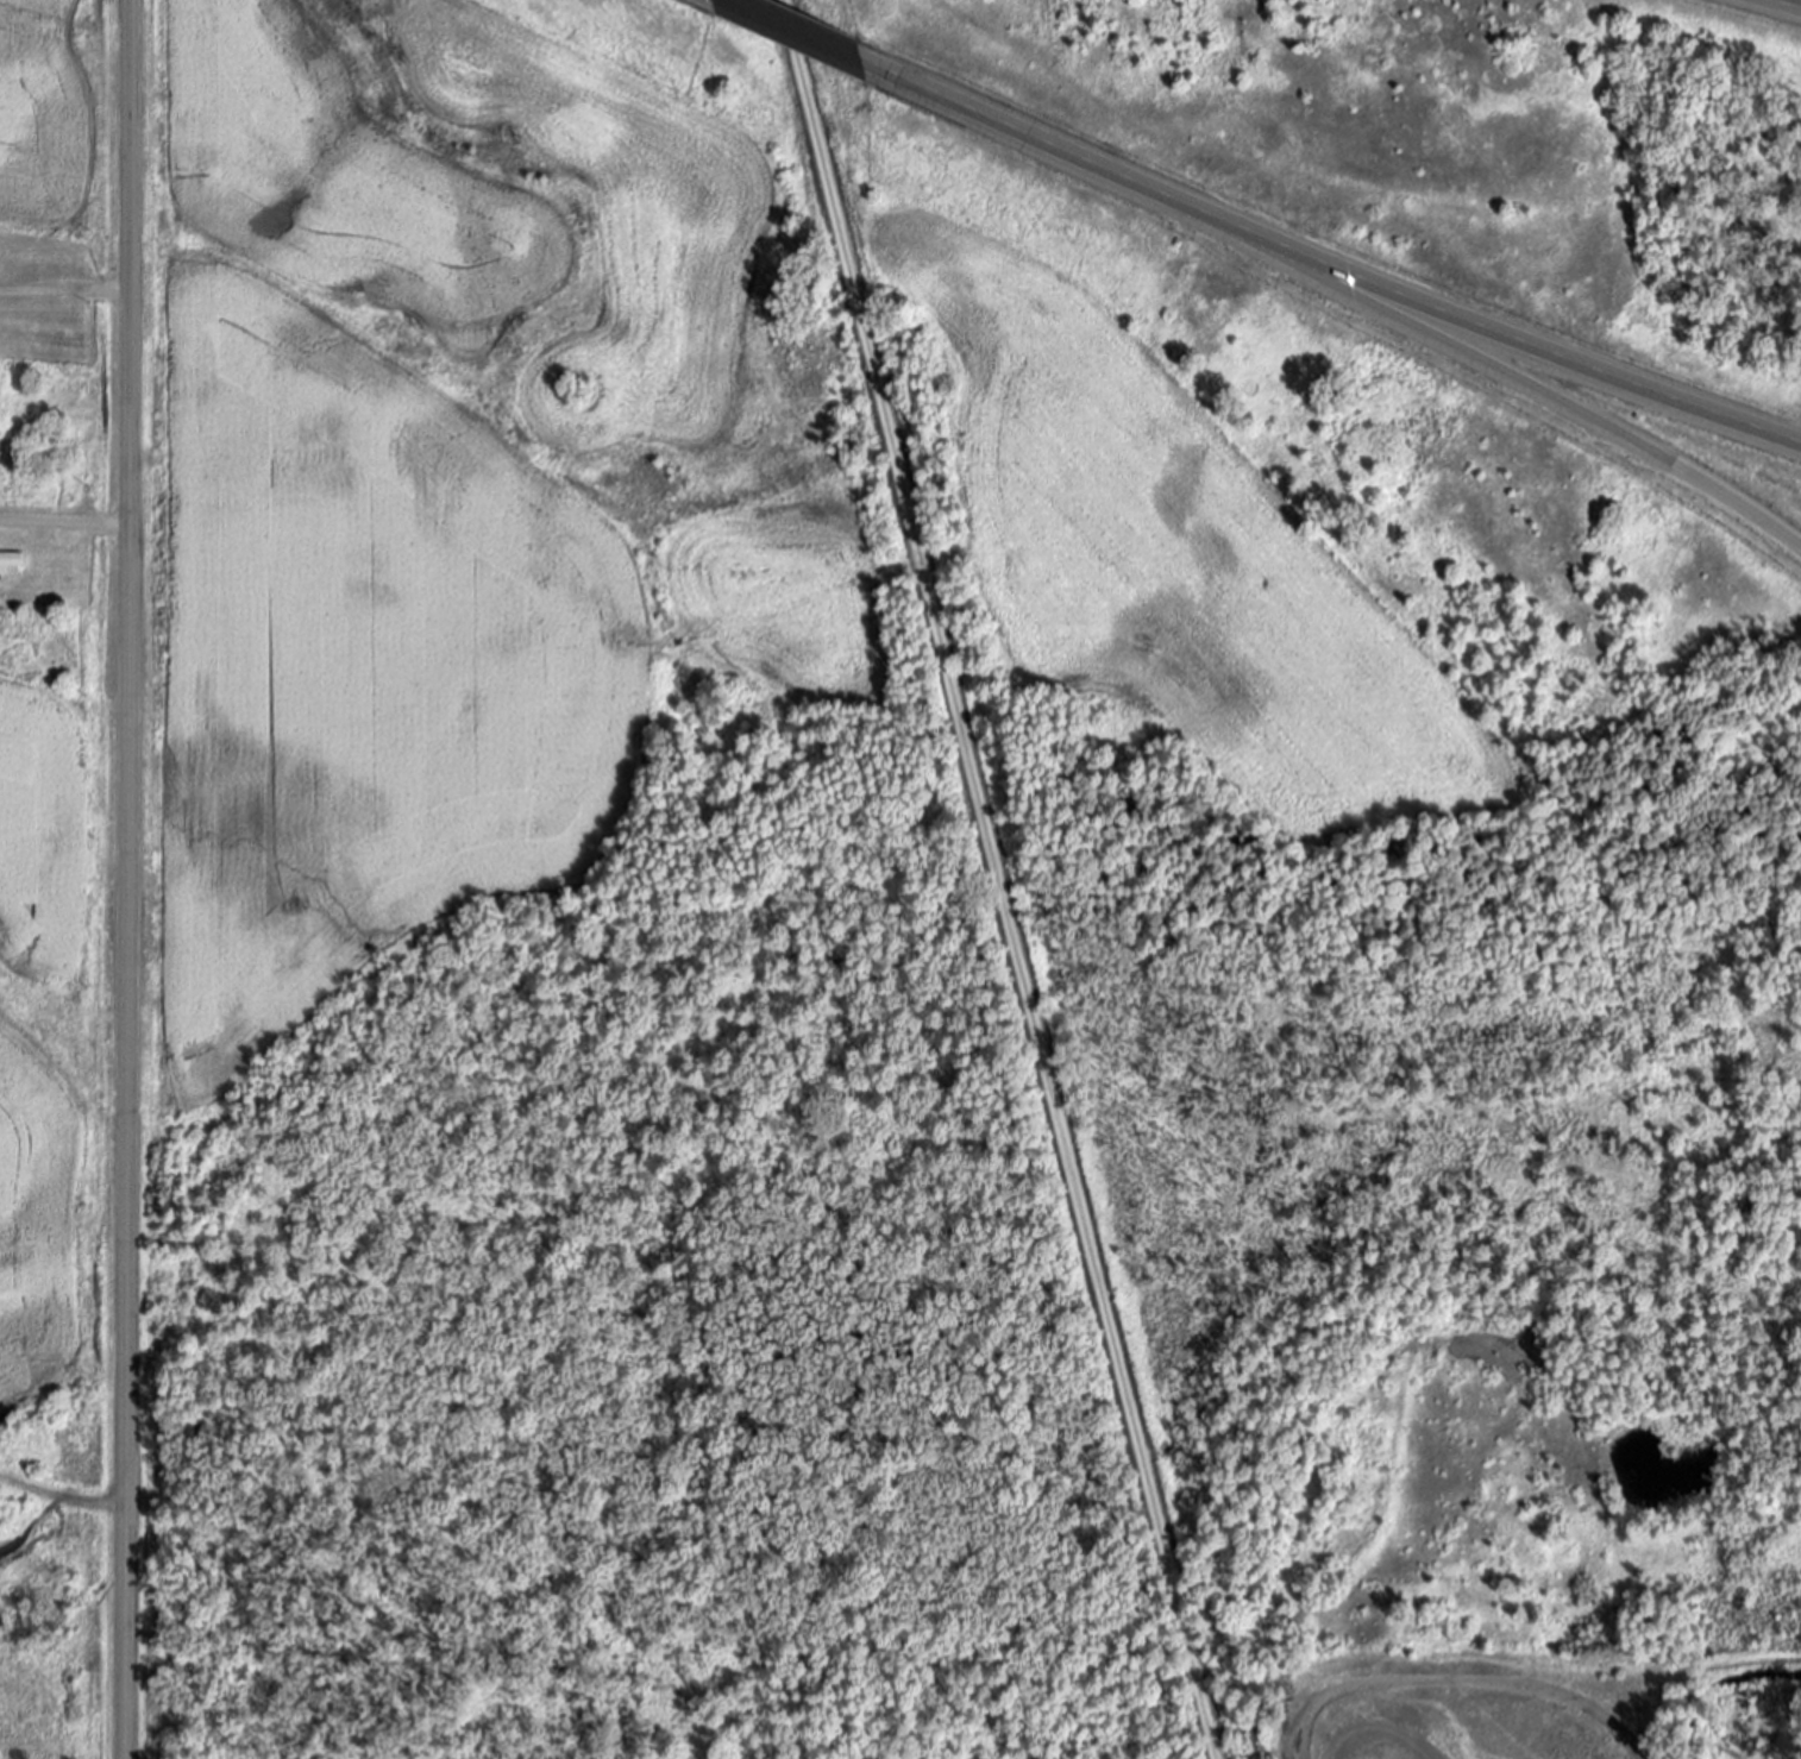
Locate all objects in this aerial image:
road: (1789, 2)
road: (809, 37)
road: (1341, 268)
road: (64, 291)
road: (1546, 388)
road: (63, 522)
building: (12, 563)
road: (125, 879)
road: (1002, 879)

